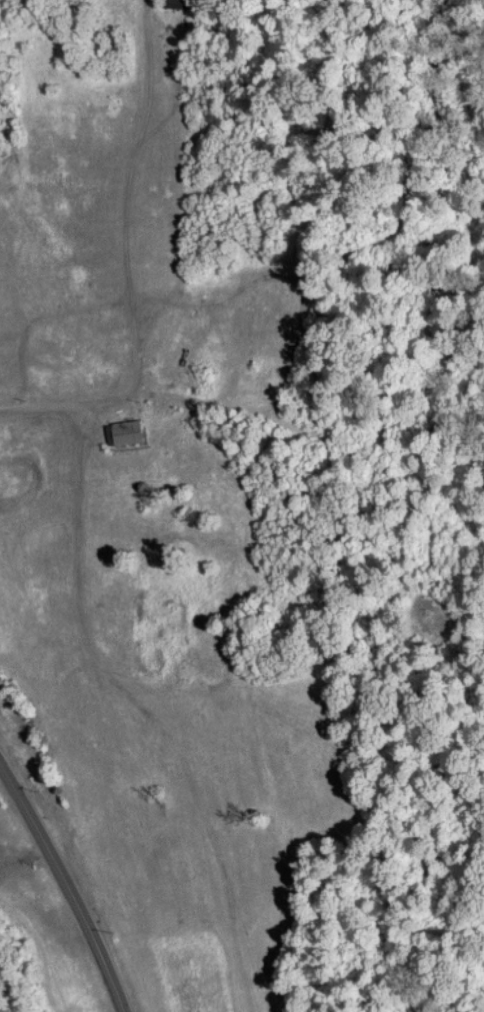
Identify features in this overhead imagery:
building: (131, 432)
road: (65, 887)

